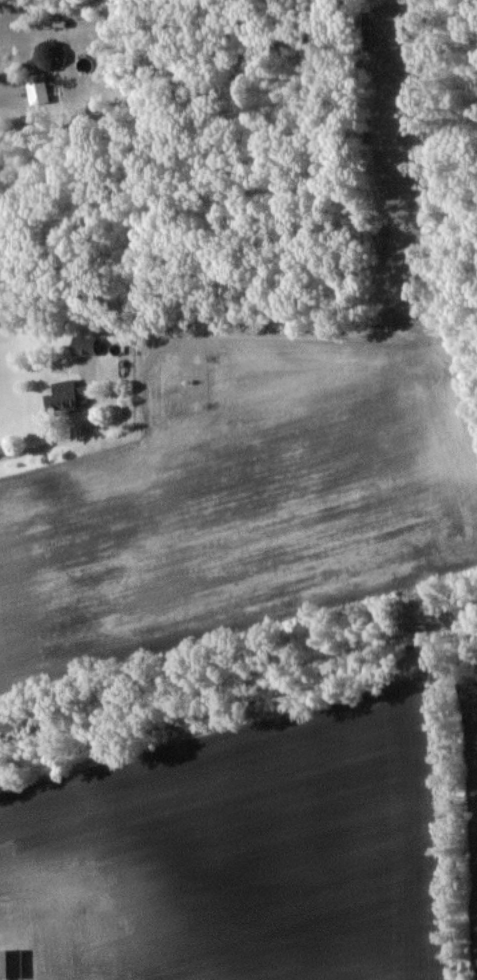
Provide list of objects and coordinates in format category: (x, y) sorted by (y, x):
building: (44, 59)
building: (85, 64)
building: (82, 346)
building: (64, 396)
building: (9, 964)

